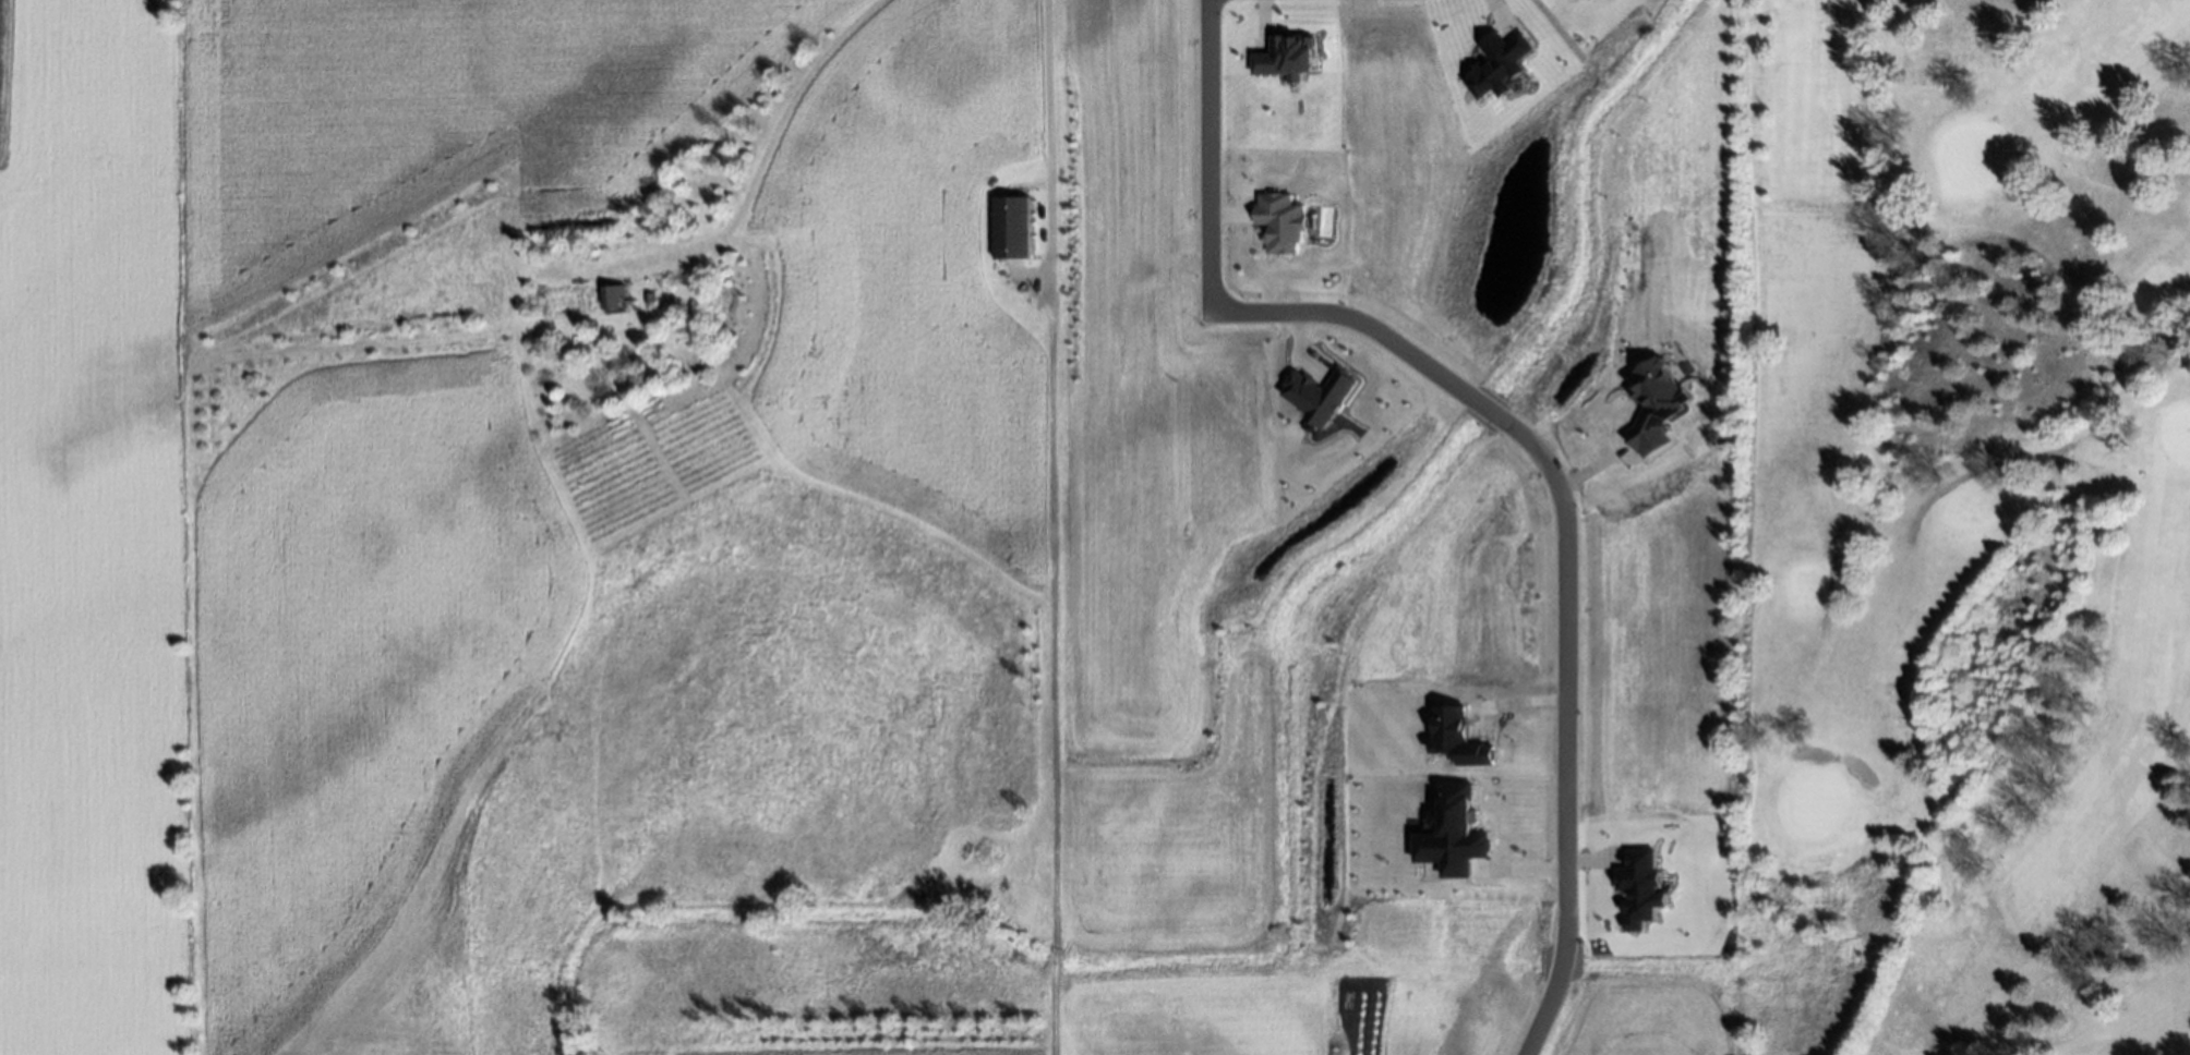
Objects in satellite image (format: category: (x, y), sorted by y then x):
building: (1288, 58)
building: (1500, 65)
road: (786, 107)
road: (1207, 154)
building: (1280, 222)
building: (1015, 226)
building: (612, 299)
road: (2143, 335)
building: (1319, 396)
building: (1654, 405)
road: (1971, 473)
road: (1050, 527)
park: (1963, 527)
road: (1566, 565)
road: (1830, 587)
building: (1459, 738)
building: (1455, 834)
building: (1644, 889)

